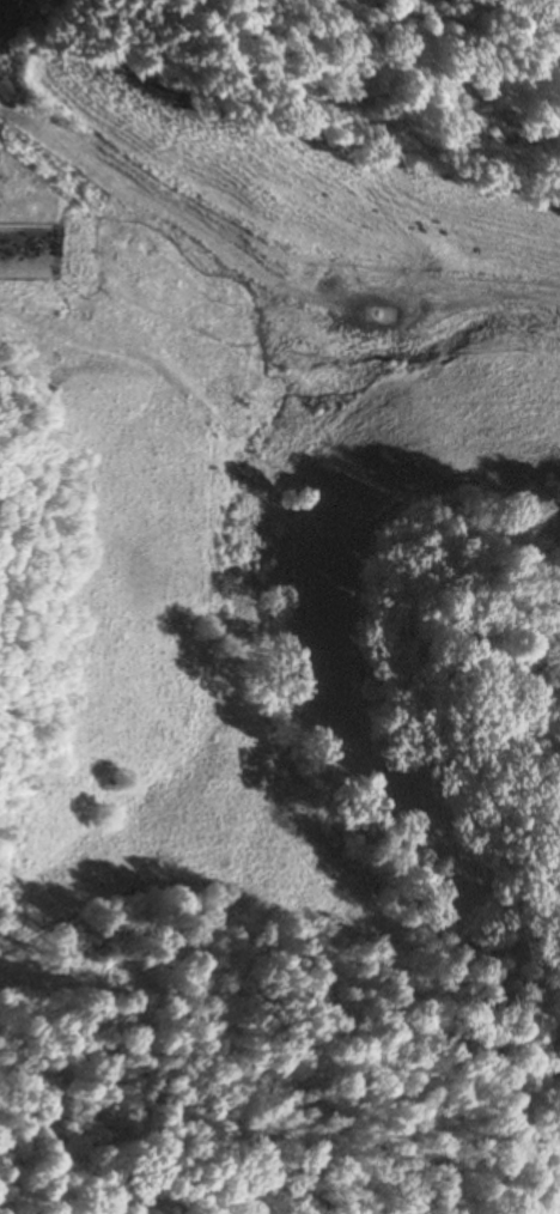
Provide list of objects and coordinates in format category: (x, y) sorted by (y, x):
building: (6, 90)

